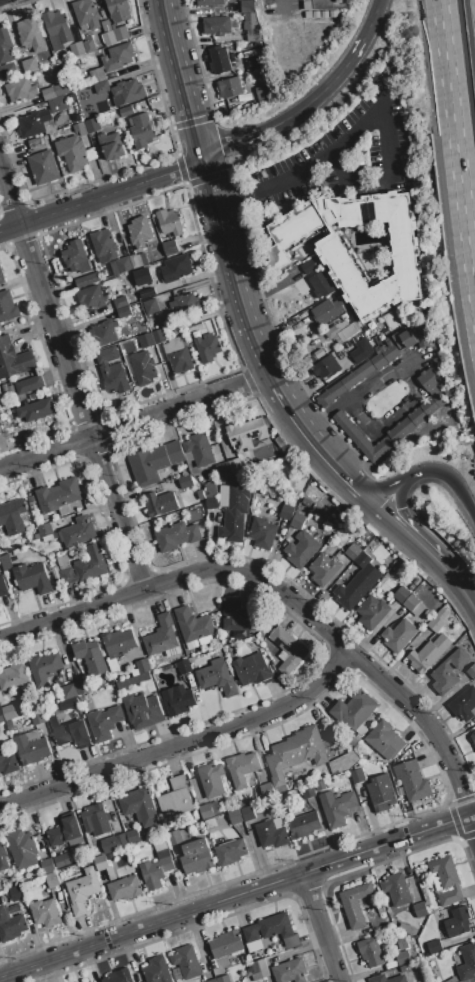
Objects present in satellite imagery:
building: (209, 2)
building: (246, 7)
building: (118, 10)
building: (86, 15)
building: (216, 27)
building: (251, 29)
building: (57, 30)
building: (107, 34)
building: (120, 34)
building: (30, 35)
road: (359, 44)
building: (89, 45)
building: (5, 47)
building: (77, 50)
building: (118, 57)
building: (219, 61)
building: (254, 64)
building: (30, 66)
building: (8, 72)
building: (97, 76)
building: (101, 88)
building: (230, 88)
building: (20, 91)
building: (262, 91)
building: (55, 92)
building: (128, 92)
building: (57, 105)
building: (139, 106)
building: (126, 112)
road: (386, 116)
building: (36, 124)
building: (92, 126)
road: (271, 128)
building: (80, 129)
building: (142, 131)
road: (456, 144)
building: (111, 146)
building: (72, 154)
building: (44, 168)
road: (101, 195)
road: (211, 195)
road: (237, 198)
building: (169, 223)
building: (140, 233)
building: (104, 245)
building: (170, 249)
building: (335, 258)
building: (76, 259)
building: (138, 261)
building: (123, 265)
building: (308, 267)
building: (175, 269)
building: (296, 276)
building: (1, 278)
building: (86, 281)
building: (322, 285)
building: (147, 293)
building: (90, 298)
building: (120, 303)
building: (186, 306)
building: (7, 307)
building: (150, 307)
building: (326, 312)
building: (123, 313)
building: (341, 332)
building: (103, 334)
building: (152, 339)
building: (208, 349)
building: (361, 351)
building: (177, 356)
building: (14, 360)
building: (377, 362)
building: (326, 368)
building: (143, 369)
building: (111, 371)
road: (406, 377)
road: (70, 380)
building: (29, 386)
building: (36, 411)
building: (419, 415)
road: (135, 421)
building: (245, 435)
road: (318, 444)
building: (199, 450)
building: (153, 462)
building: (230, 467)
building: (185, 482)
road: (455, 482)
road: (393, 483)
road: (401, 488)
building: (59, 497)
building: (211, 498)
building: (160, 505)
building: (234, 511)
building: (286, 513)
building: (13, 517)
building: (297, 521)
building: (44, 531)
road: (402, 531)
building: (77, 533)
building: (262, 534)
building: (176, 537)
road: (420, 539)
building: (362, 541)
building: (346, 546)
building: (301, 550)
building: (353, 552)
building: (6, 563)
building: (85, 568)
building: (326, 568)
building: (32, 579)
building: (358, 583)
road: (459, 586)
building: (3, 588)
road: (288, 594)
building: (401, 595)
building: (413, 606)
building: (372, 613)
building: (237, 617)
building: (439, 621)
building: (193, 626)
building: (399, 636)
building: (161, 637)
building: (119, 642)
building: (288, 650)
building: (428, 654)
building: (90, 658)
building: (143, 667)
building: (184, 668)
building: (44, 669)
building: (253, 670)
building: (448, 672)
building: (471, 673)
building: (13, 677)
building: (217, 678)
building: (133, 682)
building: (74, 690)
building: (177, 701)
building: (464, 705)
building: (354, 710)
building: (13, 711)
building: (142, 712)
building: (1, 718)
building: (37, 718)
building: (104, 723)
building: (70, 733)
building: (473, 739)
building: (385, 741)
road: (184, 748)
building: (31, 750)
building: (295, 754)
building: (7, 763)
building: (342, 764)
building: (242, 769)
building: (357, 777)
building: (211, 780)
building: (412, 781)
building: (321, 786)
building: (266, 791)
building: (308, 792)
building: (381, 794)
building: (175, 799)
building: (140, 807)
building: (337, 808)
building: (215, 809)
building: (206, 812)
building: (247, 814)
building: (234, 817)
building: (96, 820)
building: (210, 824)
building: (304, 826)
building: (64, 833)
building: (271, 834)
building: (133, 838)
building: (174, 839)
building: (115, 844)
building: (22, 849)
building: (230, 853)
building: (196, 857)
building: (3, 858)
building: (62, 861)
building: (47, 866)
building: (104, 867)
building: (156, 868)
building: (52, 880)
building: (446, 880)
building: (0, 889)
building: (125, 889)
building: (396, 890)
building: (82, 892)
building: (17, 895)
road: (237, 895)
building: (355, 905)
building: (420, 910)
building: (45, 913)
building: (458, 923)
building: (10, 926)
road: (319, 927)
building: (272, 931)
building: (226, 944)
building: (402, 944)
building: (434, 948)
building: (370, 953)
building: (403, 959)
building: (186, 963)
building: (467, 963)
building: (404, 969)
building: (157, 971)
building: (259, 971)
building: (290, 972)
building: (119, 977)
building: (379, 978)
building: (223, 979)
building: (452, 980)
building: (90, 981)
building: (213, 981)

